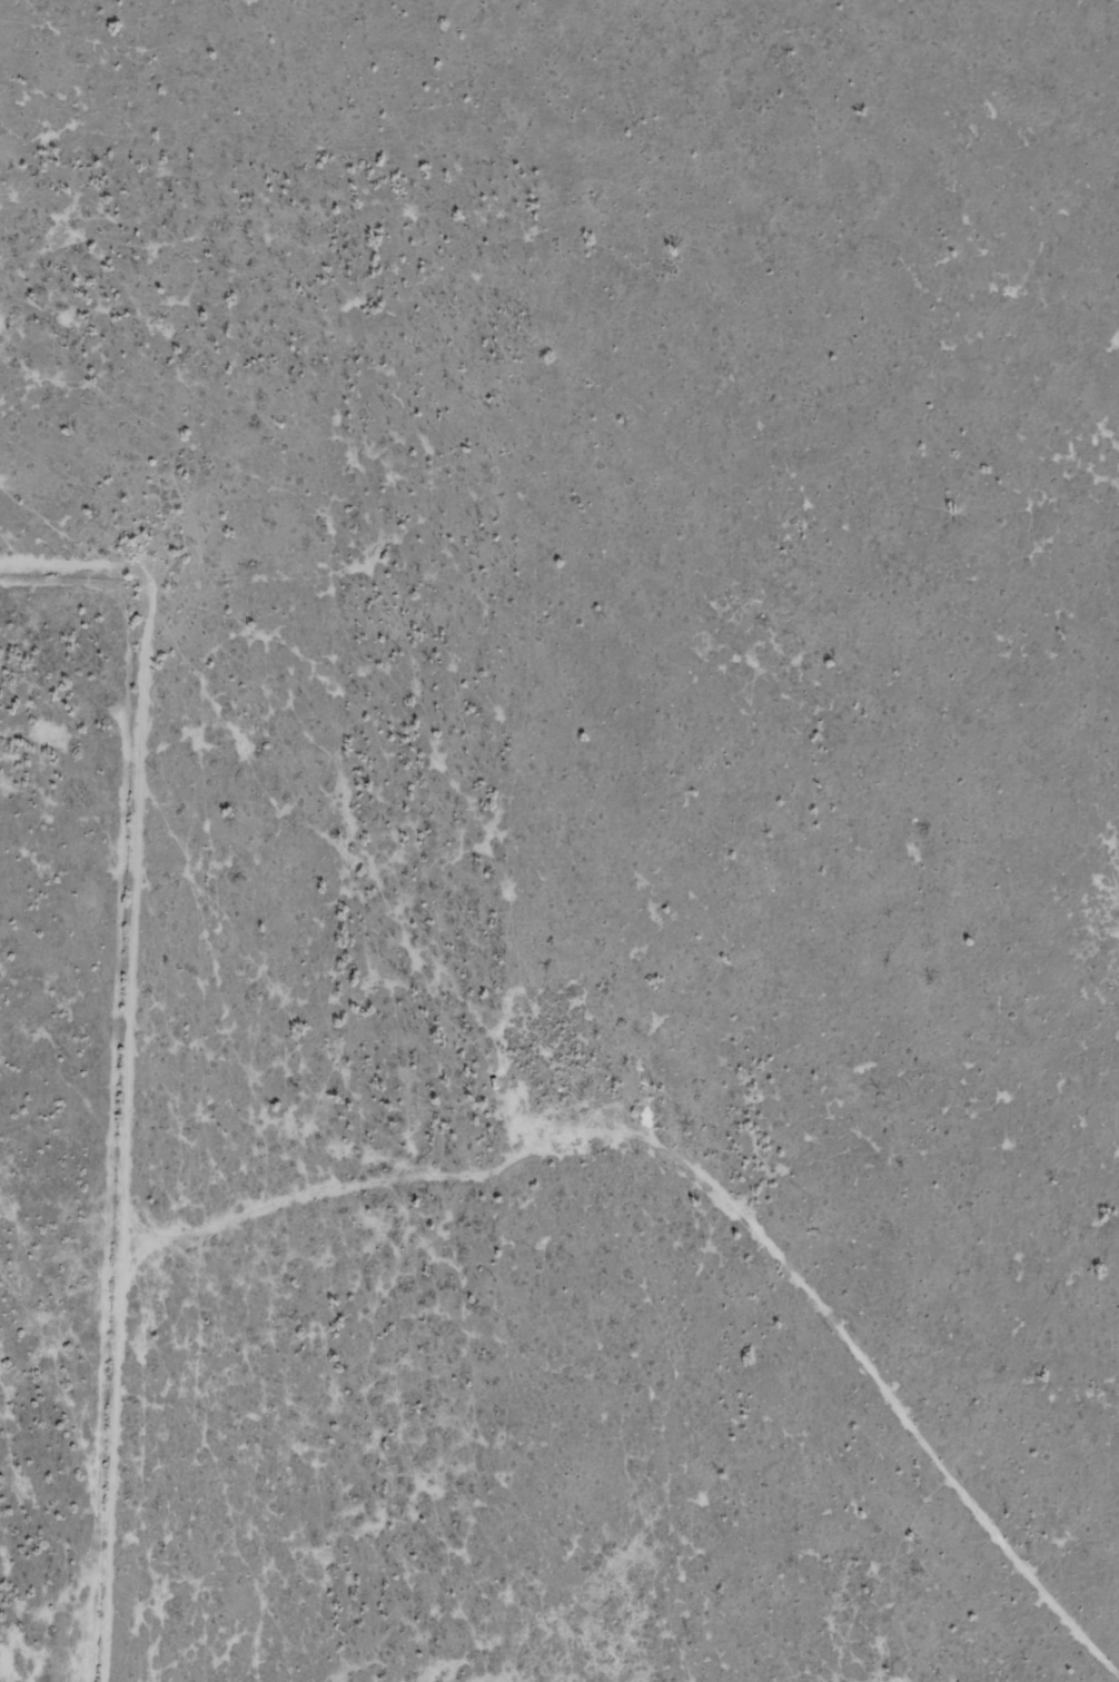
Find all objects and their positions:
road: (867, 1425)
road: (102, 1457)
road: (206, 1565)

